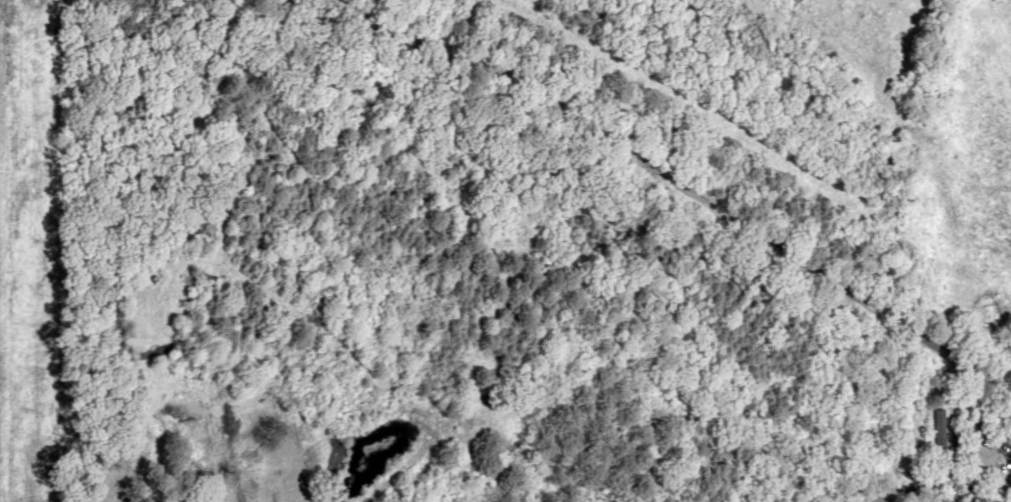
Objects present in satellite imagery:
road: (932, 170)
road: (674, 190)
building: (940, 432)
building: (1009, 440)
building: (981, 454)

